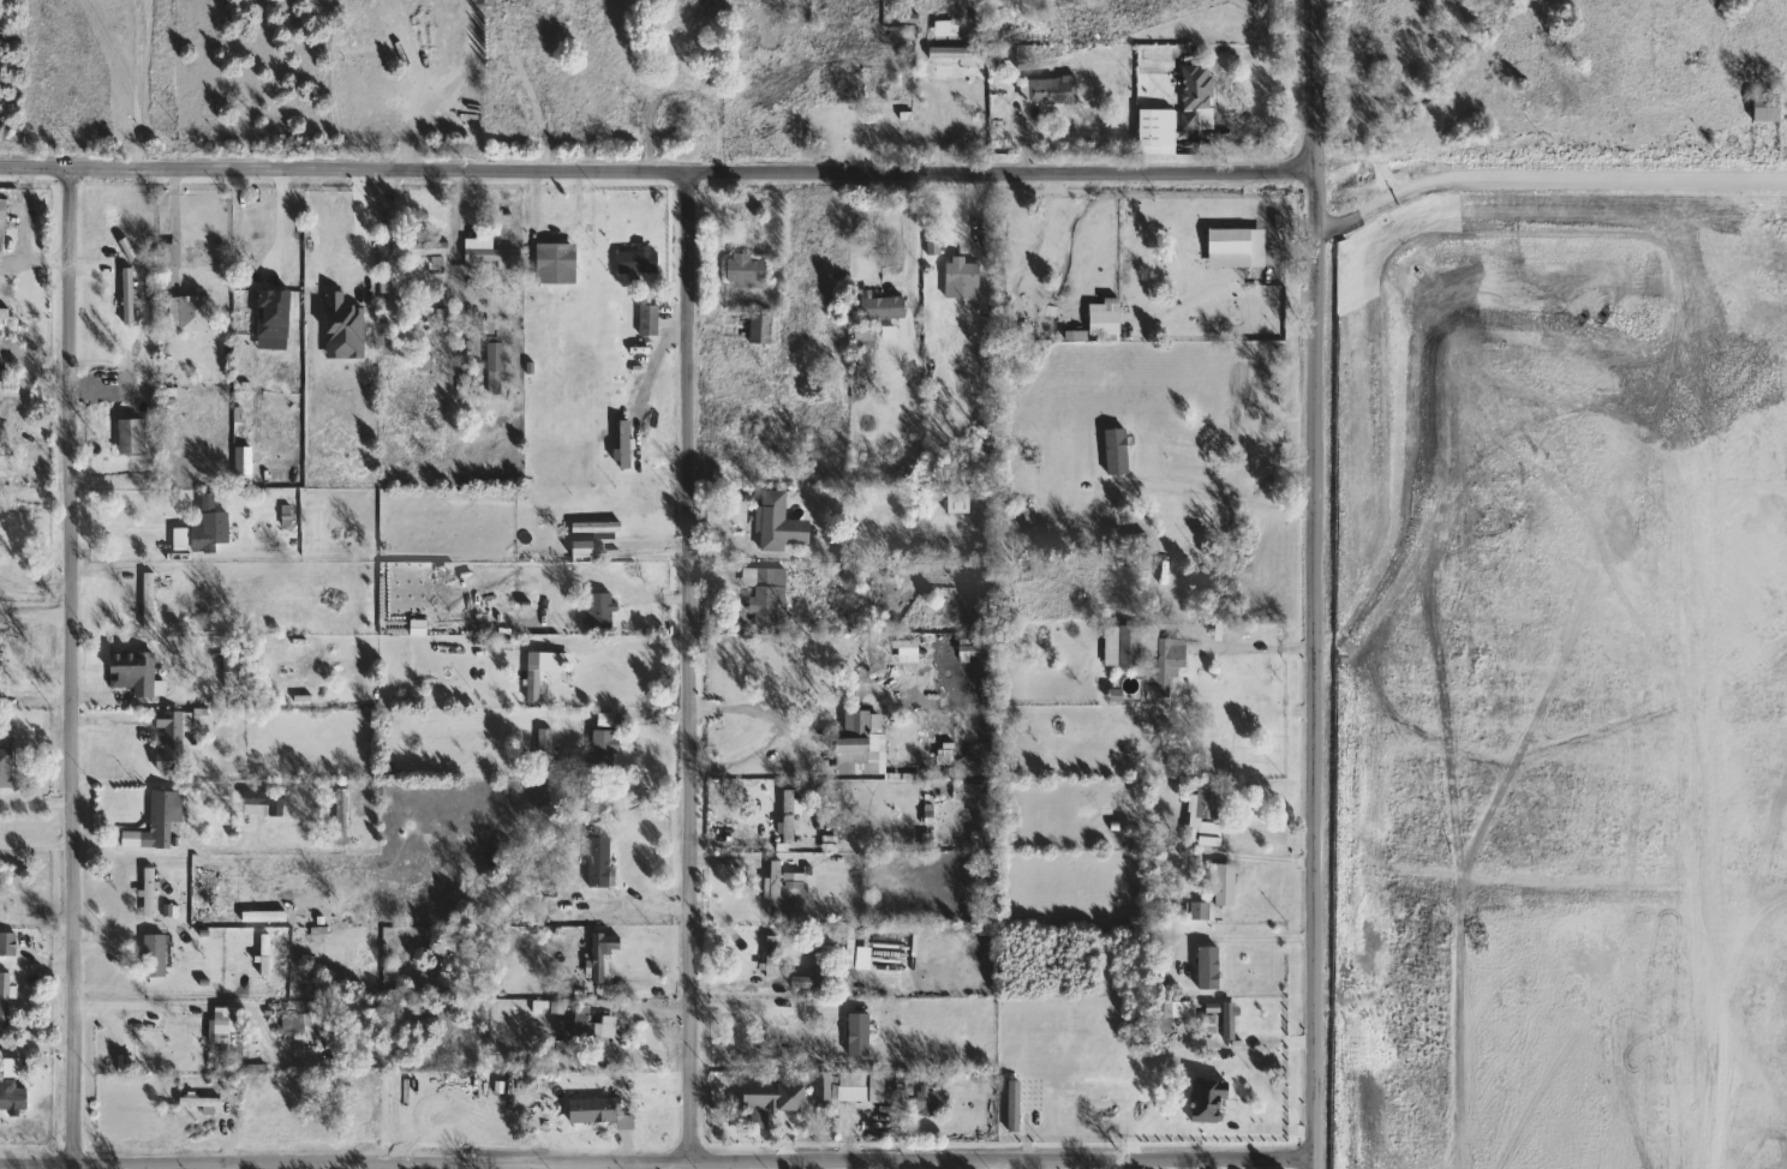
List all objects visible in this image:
building: (687, 29)
building: (949, 29)
building: (546, 32)
building: (960, 54)
building: (891, 59)
building: (854, 80)
road: (429, 83)
building: (1054, 91)
building: (1199, 97)
building: (1769, 107)
road: (1272, 124)
building: (1157, 130)
road: (656, 168)
road: (1547, 175)
road: (394, 197)
road: (245, 210)
road: (24, 211)
road: (1259, 214)
road: (358, 224)
building: (4, 226)
road: (554, 227)
road: (907, 230)
road: (718, 245)
building: (1220, 245)
building: (423, 248)
building: (491, 251)
road: (986, 254)
building: (192, 257)
building: (273, 259)
building: (349, 259)
building: (640, 262)
building: (558, 264)
building: (747, 271)
building: (963, 280)
road: (1232, 281)
building: (130, 296)
building: (884, 308)
building: (395, 312)
building: (651, 319)
building: (4, 320)
building: (340, 323)
building: (1106, 323)
building: (444, 328)
building: (763, 329)
building: (497, 366)
road: (36, 370)
building: (133, 436)
building: (624, 449)
building: (1118, 451)
road: (1220, 500)
building: (961, 503)
building: (779, 524)
building: (598, 528)
building: (205, 530)
road: (118, 535)
building: (582, 550)
road: (770, 558)
road: (136, 569)
road: (1310, 583)
road: (34, 588)
building: (988, 588)
building: (767, 593)
building: (145, 600)
building: (151, 601)
building: (603, 612)
building: (1142, 647)
road: (1254, 651)
road: (632, 652)
road: (693, 664)
road: (67, 665)
building: (1, 671)
building: (136, 672)
building: (536, 677)
road: (130, 697)
road: (736, 714)
road: (114, 729)
building: (173, 741)
building: (861, 744)
building: (604, 754)
building: (265, 803)
road: (35, 805)
building: (1208, 815)
building: (343, 816)
building: (161, 817)
road: (1278, 840)
road: (742, 849)
road: (199, 850)
building: (602, 863)
building: (207, 869)
building: (796, 881)
building: (1226, 885)
building: (778, 888)
building: (153, 892)
building: (552, 903)
building: (1202, 911)
road: (1278, 937)
building: (10, 945)
building: (157, 955)
road: (739, 994)
building: (6, 1001)
road: (143, 1005)
building: (1177, 1009)
building: (1221, 1019)
building: (307, 1020)
building: (231, 1033)
building: (581, 1033)
building: (789, 1042)
road: (1257, 1044)
road: (41, 1050)
building: (856, 1087)
building: (826, 1089)
building: (12, 1096)
building: (1208, 1098)
building: (770, 1101)
building: (934, 1101)
building: (202, 1103)
building: (1017, 1107)
building: (594, 1111)
road: (1279, 1123)
road: (656, 1161)
road: (1229, 1162)
road: (915, 1163)
road: (996, 1163)
road: (701, 1164)
road: (724, 1164)
road: (790, 1164)
road: (855, 1164)
road: (406, 1165)
road: (452, 1165)
road: (550, 1165)
road: (649, 1165)
road: (231, 1167)
road: (6, 1168)
road: (46, 1168)

